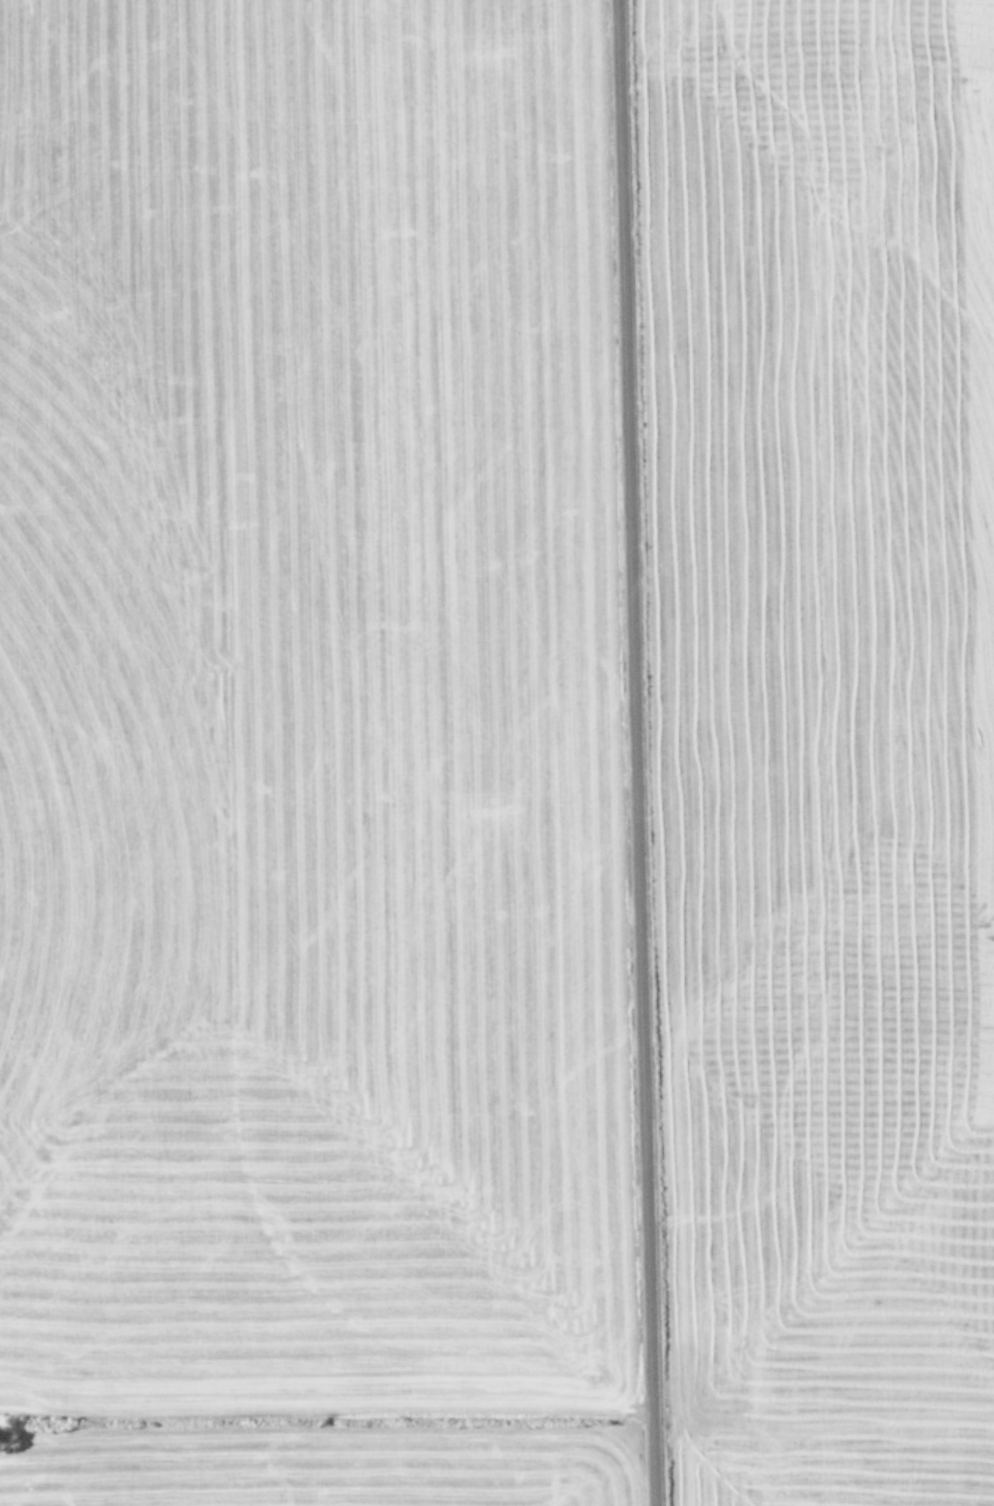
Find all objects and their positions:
crop: (497, 753)
road: (637, 753)

